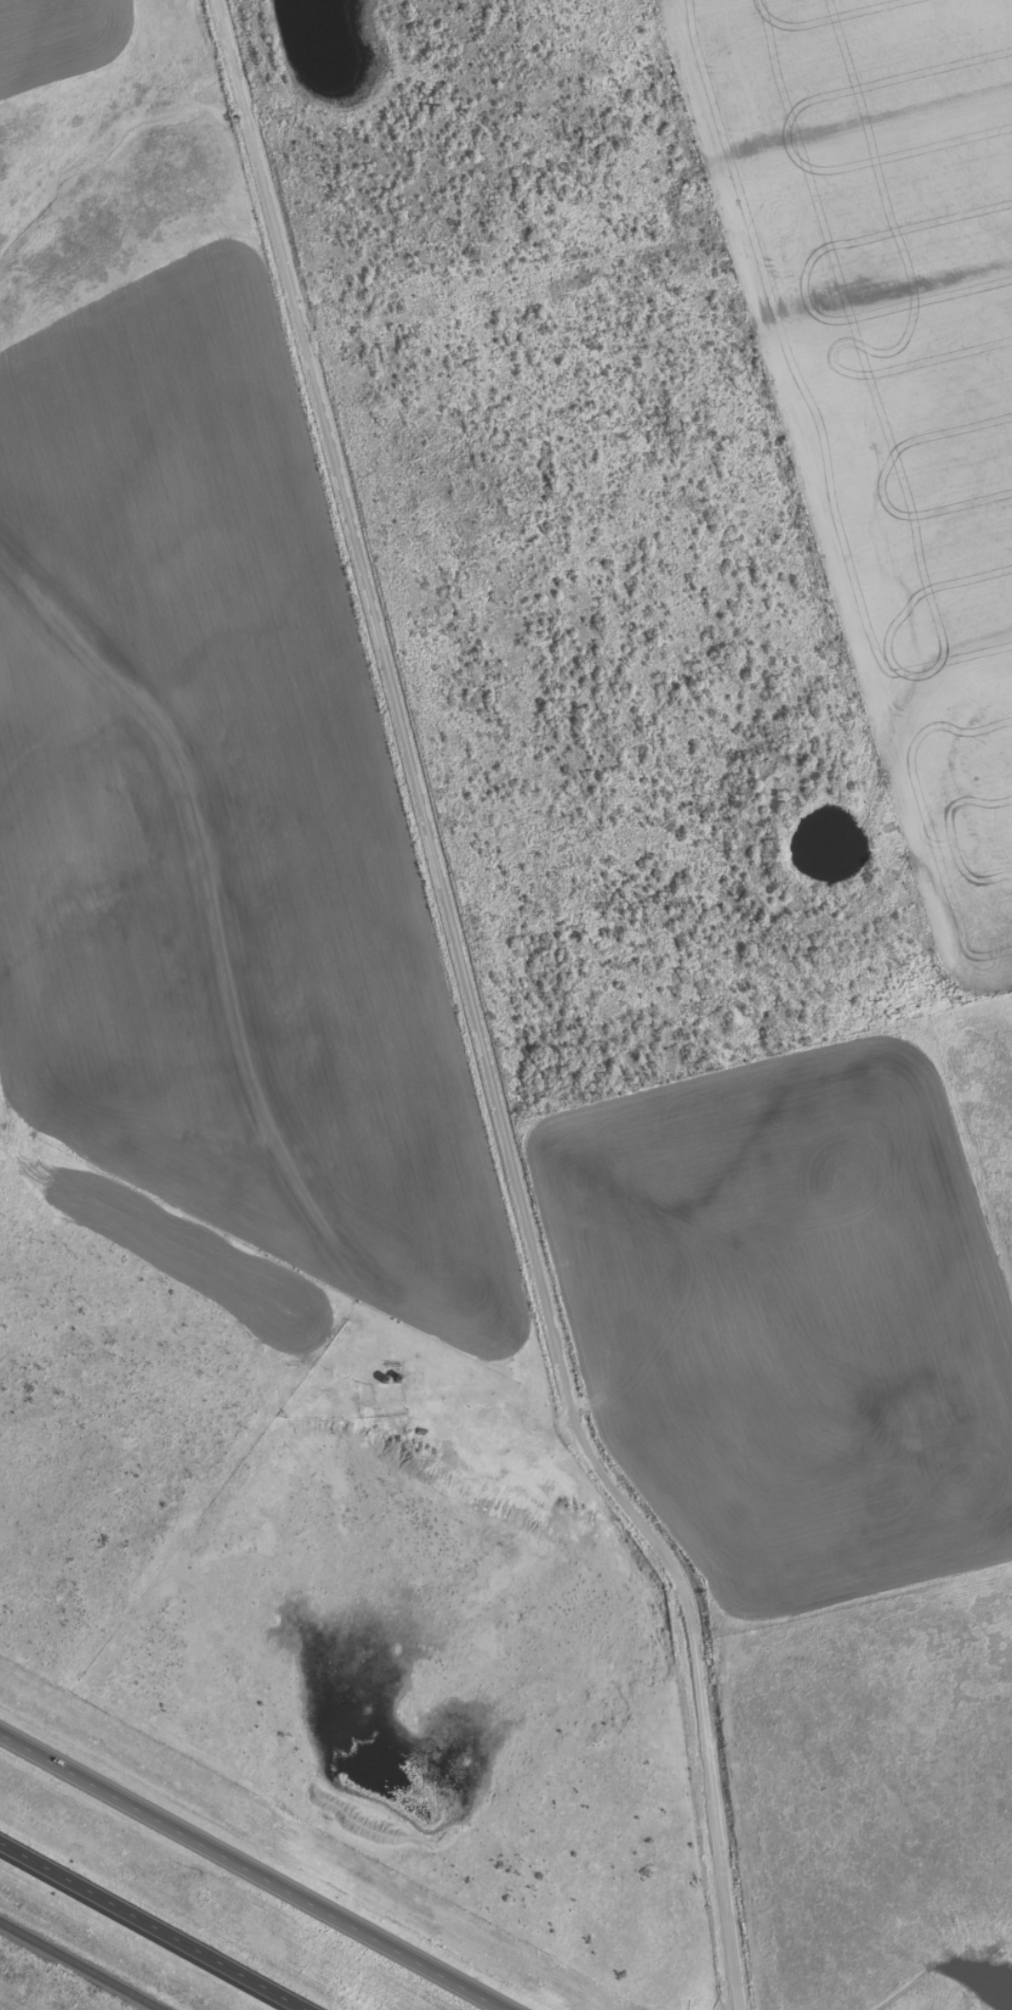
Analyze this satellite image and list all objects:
road: (474, 1013)
road: (252, 1872)
road: (151, 1926)
railway: (80, 1966)

